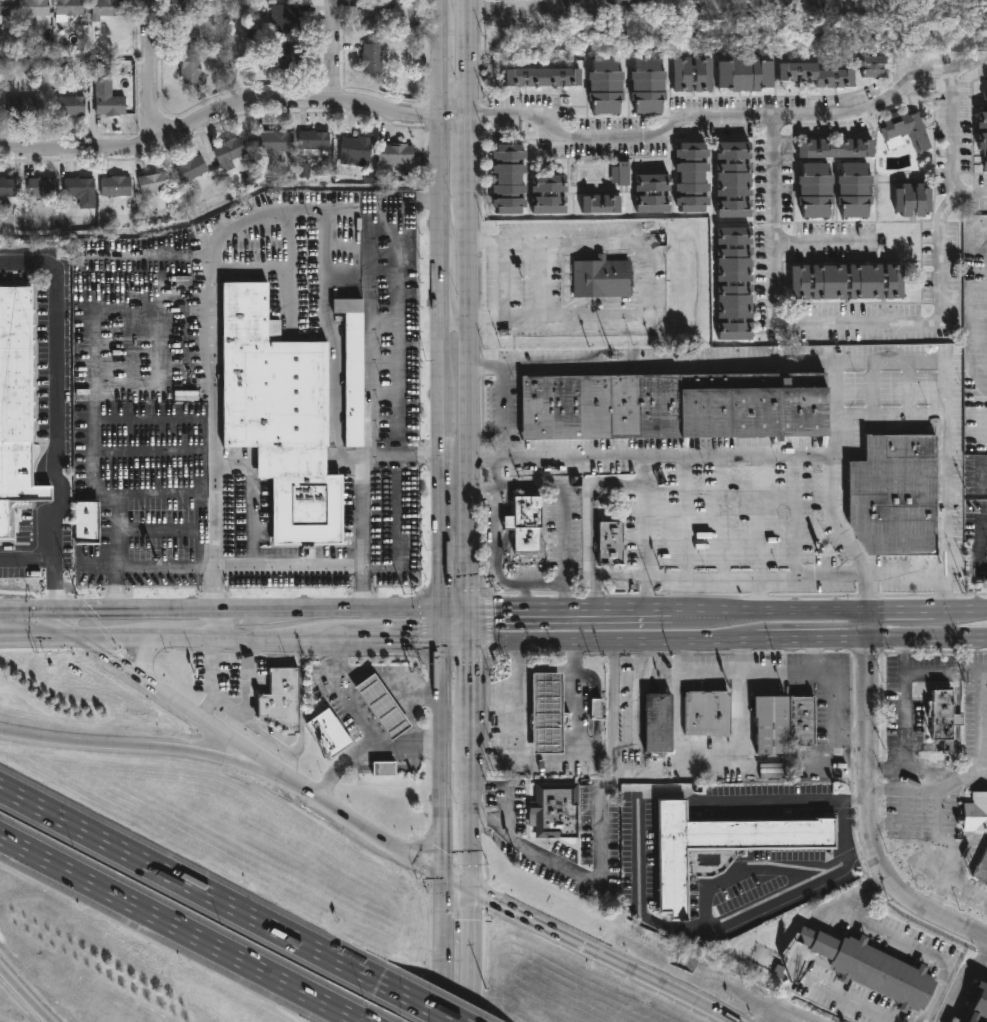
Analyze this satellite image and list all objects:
building: (609, 2)
building: (632, 2)
building: (187, 4)
building: (622, 4)
building: (5, 7)
building: (31, 7)
building: (103, 8)
building: (66, 10)
road: (437, 10)
road: (515, 11)
building: (370, 15)
building: (289, 18)
building: (188, 32)
road: (331, 52)
building: (370, 58)
building: (275, 62)
road: (968, 62)
building: (874, 67)
building: (188, 68)
road: (438, 69)
building: (99, 70)
road: (151, 71)
building: (692, 75)
building: (745, 75)
building: (818, 75)
building: (545, 78)
building: (648, 85)
building: (605, 87)
building: (65, 106)
building: (108, 106)
building: (23, 107)
road: (218, 116)
road: (711, 116)
road: (454, 118)
building: (983, 121)
building: (905, 130)
building: (311, 141)
building: (272, 143)
building: (983, 145)
road: (952, 147)
building: (832, 149)
building: (354, 152)
building: (226, 154)
building: (393, 154)
road: (468, 159)
building: (188, 169)
building: (622, 175)
road: (439, 178)
building: (693, 178)
building: (509, 179)
building: (734, 181)
building: (152, 183)
building: (113, 186)
building: (8, 187)
building: (40, 187)
building: (856, 190)
building: (79, 191)
building: (816, 192)
building: (652, 193)
building: (549, 195)
building: (914, 200)
building: (603, 206)
road: (223, 235)
road: (557, 241)
road: (822, 242)
road: (648, 276)
road: (439, 278)
building: (602, 278)
building: (848, 281)
building: (735, 286)
road: (969, 312)
road: (559, 316)
road: (453, 319)
road: (820, 321)
road: (369, 342)
road: (439, 350)
road: (831, 363)
building: (349, 370)
building: (16, 403)
building: (675, 405)
road: (500, 410)
road: (54, 415)
road: (862, 415)
building: (279, 418)
road: (832, 436)
road: (732, 454)
road: (401, 461)
road: (468, 465)
building: (897, 494)
road: (440, 496)
road: (685, 515)
road: (721, 515)
road: (794, 516)
road: (587, 518)
building: (526, 523)
building: (86, 524)
road: (159, 531)
road: (644, 532)
road: (756, 533)
road: (363, 536)
building: (612, 544)
road: (979, 547)
road: (144, 566)
road: (290, 566)
road: (767, 577)
road: (552, 582)
road: (53, 584)
road: (523, 597)
road: (560, 597)
road: (171, 609)
road: (239, 609)
road: (3, 610)
road: (351, 610)
road: (67, 611)
traffic signals: (440, 611)
road: (454, 611)
traffic signals: (468, 611)
road: (3, 612)
traffic signals: (6, 612)
road: (560, 612)
road: (820, 612)
road: (216, 623)
road: (41, 625)
road: (440, 625)
road: (468, 625)
road: (868, 627)
road: (38, 637)
road: (115, 637)
road: (185, 637)
traffic signals: (76, 638)
road: (276, 638)
road: (388, 639)
traffic signals: (440, 640)
road: (454, 640)
traffic signals: (468, 640)
road: (612, 640)
road: (812, 641)
road: (927, 642)
road: (143, 657)
road: (743, 657)
road: (114, 662)
road: (545, 669)
road: (468, 673)
road: (736, 673)
road: (929, 674)
road: (390, 675)
road: (391, 690)
road: (371, 693)
road: (407, 693)
road: (492, 693)
road: (343, 694)
road: (956, 694)
road: (396, 697)
road: (514, 698)
building: (278, 699)
road: (356, 703)
building: (380, 704)
gas station: (380, 704)
road: (401, 704)
road: (832, 706)
road: (904, 706)
road: (381, 707)
building: (596, 709)
building: (545, 712)
gas station: (545, 712)
building: (704, 712)
building: (941, 713)
road: (469, 715)
road: (366, 718)
road: (413, 718)
road: (956, 719)
road: (391, 721)
building: (655, 721)
building: (785, 723)
road: (375, 732)
road: (220, 733)
building: (327, 736)
road: (469, 740)
road: (111, 744)
road: (366, 745)
road: (576, 752)
building: (389, 758)
gas station: (389, 758)
road: (441, 758)
road: (980, 762)
road: (970, 764)
road: (950, 768)
road: (255, 769)
building: (383, 769)
road: (888, 771)
building: (552, 810)
building: (975, 813)
road: (903, 820)
road: (872, 822)
road: (468, 823)
road: (364, 829)
road: (599, 834)
building: (720, 846)
road: (637, 865)
building: (981, 867)
road: (741, 873)
traffic signals: (442, 877)
road: (455, 883)
road: (200, 889)
road: (862, 889)
traffic signals: (468, 890)
road: (180, 929)
road: (548, 929)
road: (469, 946)
road: (983, 948)
road: (442, 949)
road: (918, 950)
building: (869, 968)
road: (979, 973)
road: (809, 978)
road: (961, 987)
road: (673, 990)
road: (24, 996)
building: (978, 1003)
road: (429, 1007)
road: (471, 1012)
road: (726, 1017)
building: (954, 1020)

